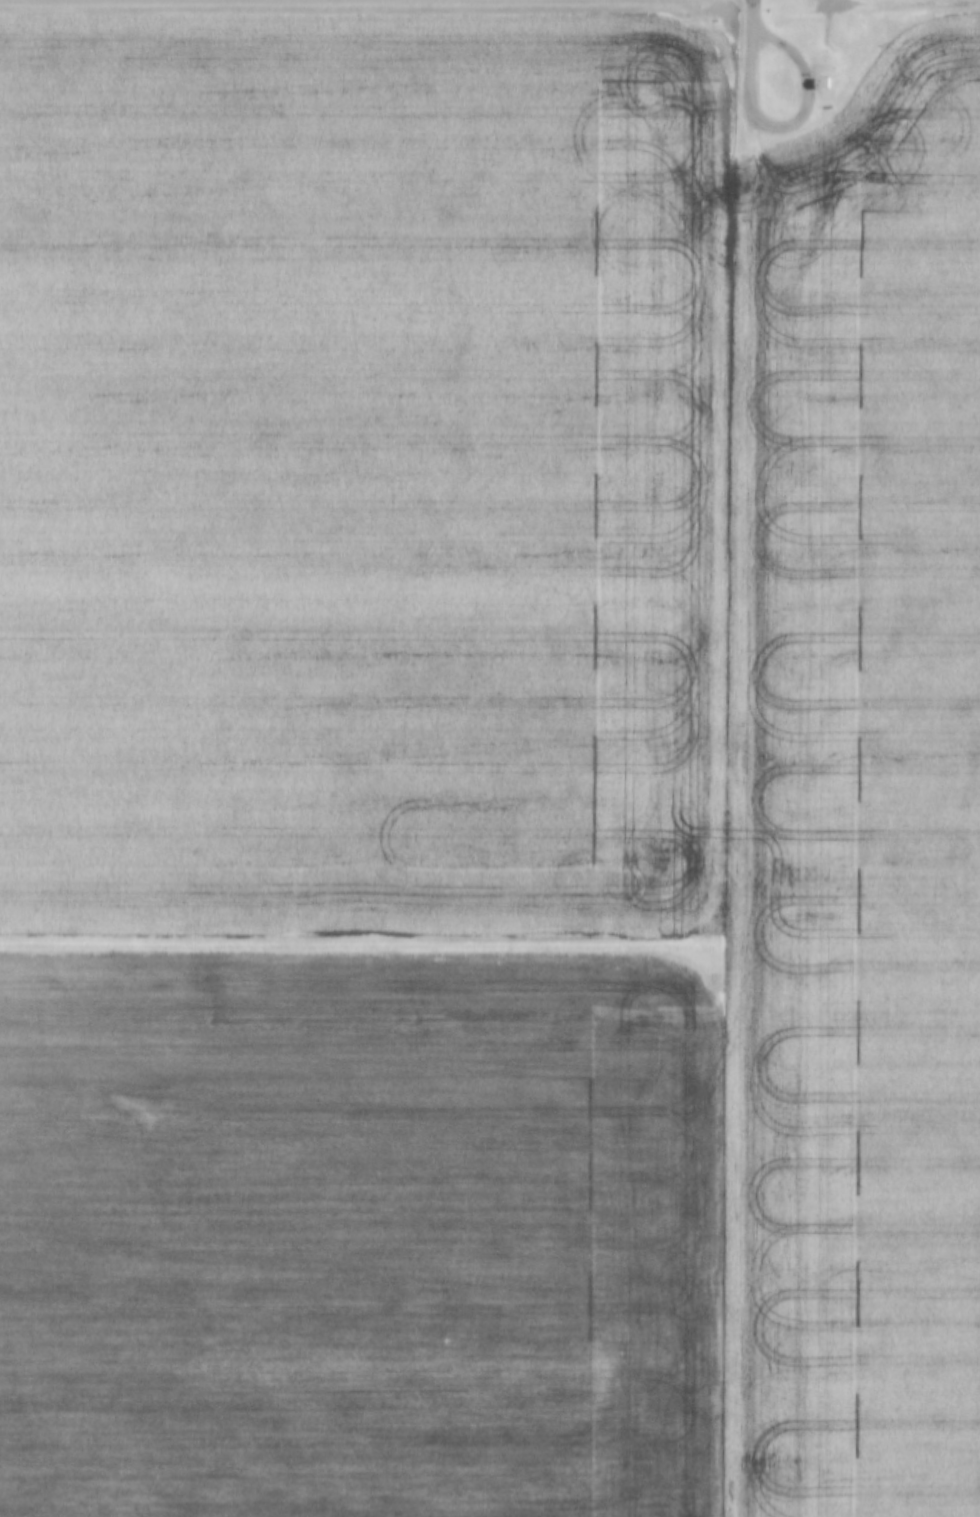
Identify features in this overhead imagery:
road: (758, 13)
building: (824, 83)
road: (807, 90)

